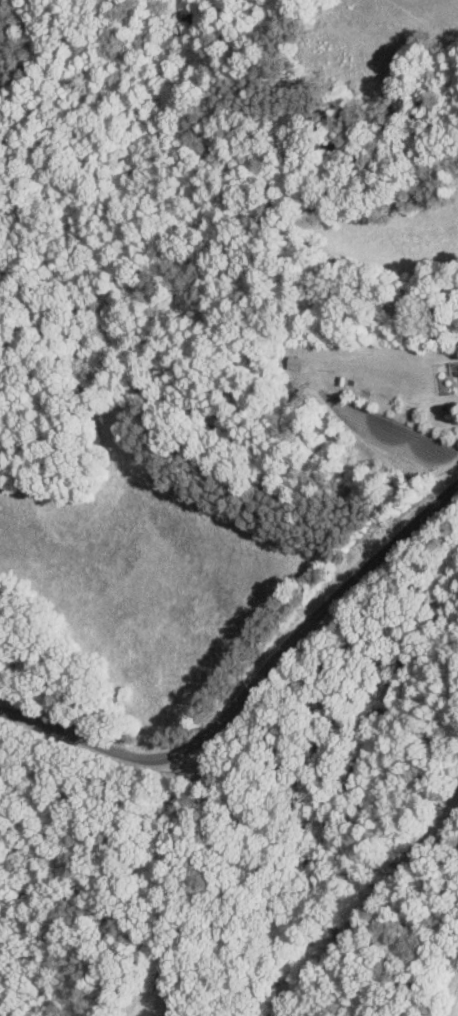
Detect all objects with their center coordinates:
road: (252, 686)

